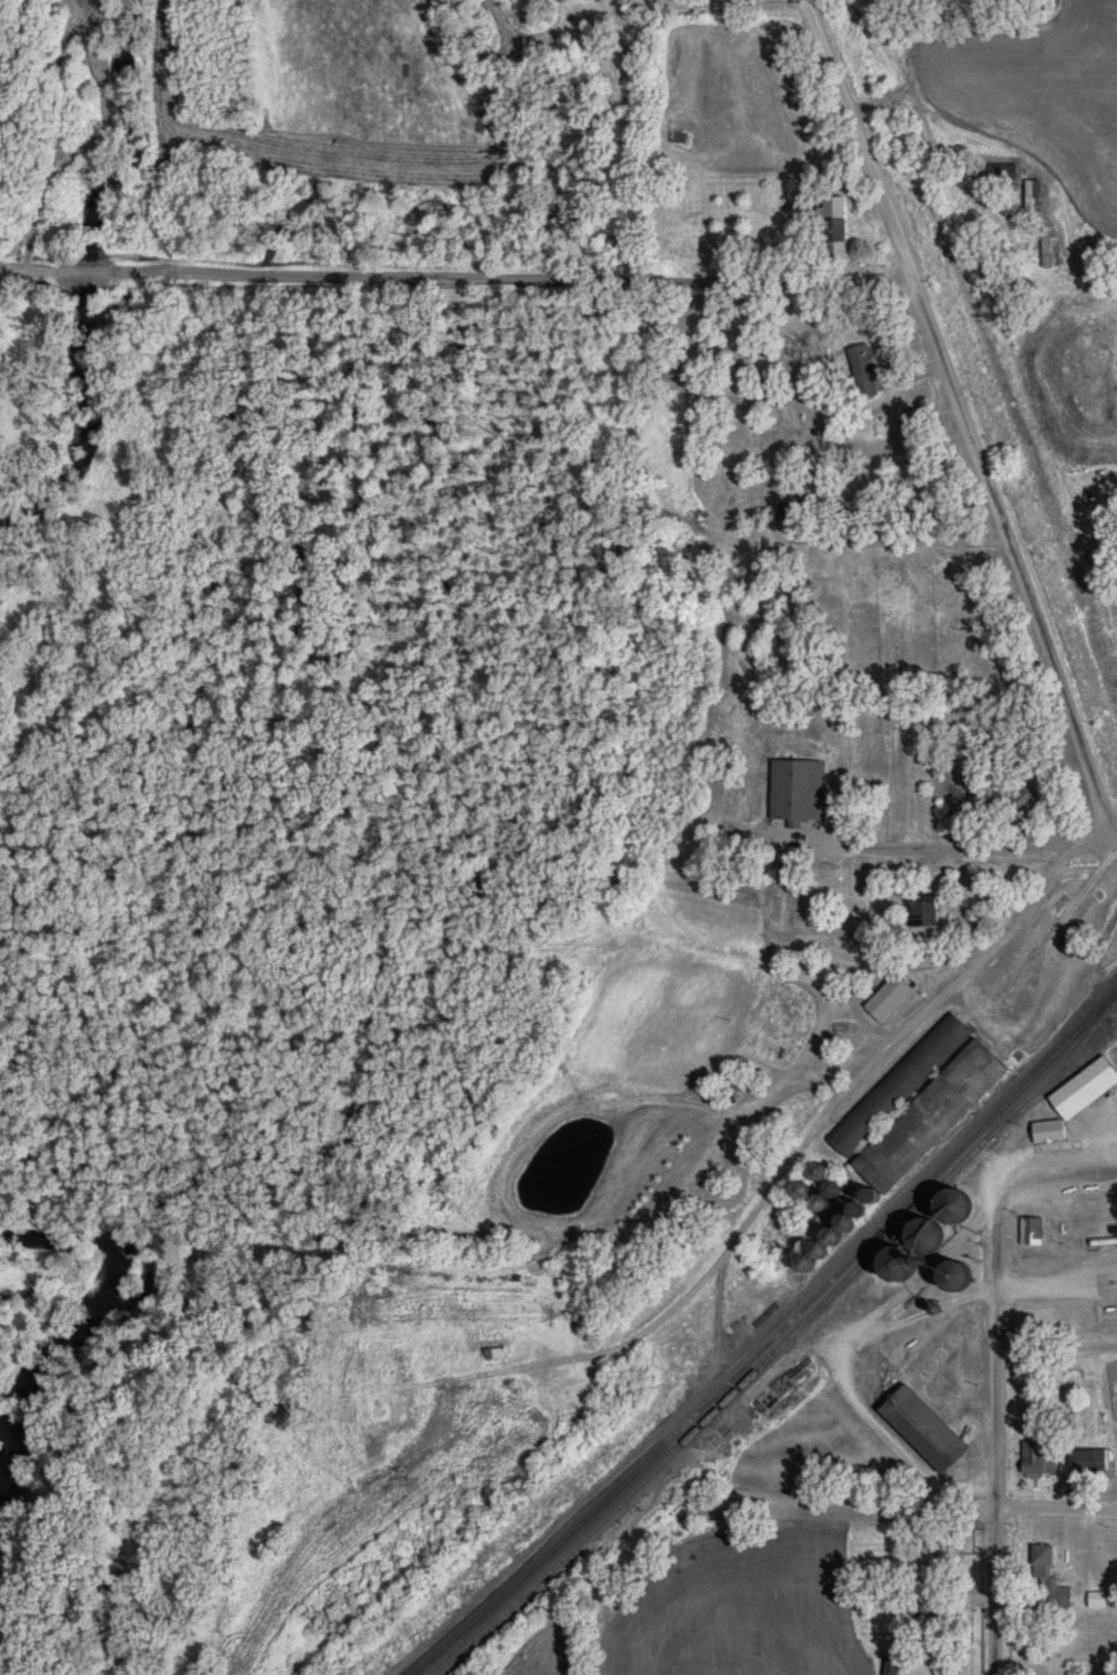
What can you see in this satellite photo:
building: (1003, 123)
building: (677, 136)
building: (995, 171)
building: (1030, 194)
building: (833, 238)
road: (174, 273)
road: (629, 276)
building: (863, 369)
road: (962, 413)
building: (857, 497)
building: (790, 510)
road: (930, 541)
building: (832, 571)
building: (947, 589)
building: (971, 660)
building: (795, 790)
building: (1022, 803)
road: (975, 845)
building: (922, 911)
building: (886, 998)
building: (897, 1084)
building: (737, 1085)
railway: (1049, 1087)
building: (951, 1090)
building: (1075, 1098)
road: (804, 1137)
building: (815, 1171)
road: (1052, 1178)
building: (796, 1190)
building: (822, 1197)
building: (951, 1201)
building: (845, 1217)
building: (1029, 1229)
building: (921, 1236)
building: (811, 1252)
building: (895, 1261)
building: (800, 1265)
building: (951, 1276)
road: (910, 1283)
railway: (770, 1339)
railway: (782, 1342)
building: (489, 1349)
building: (568, 1387)
building: (376, 1410)
building: (922, 1429)
road: (994, 1440)
building: (1038, 1456)
building: (1086, 1460)
building: (936, 1552)
building: (1048, 1582)
building: (1096, 1598)
building: (920, 1606)
building: (890, 1665)

